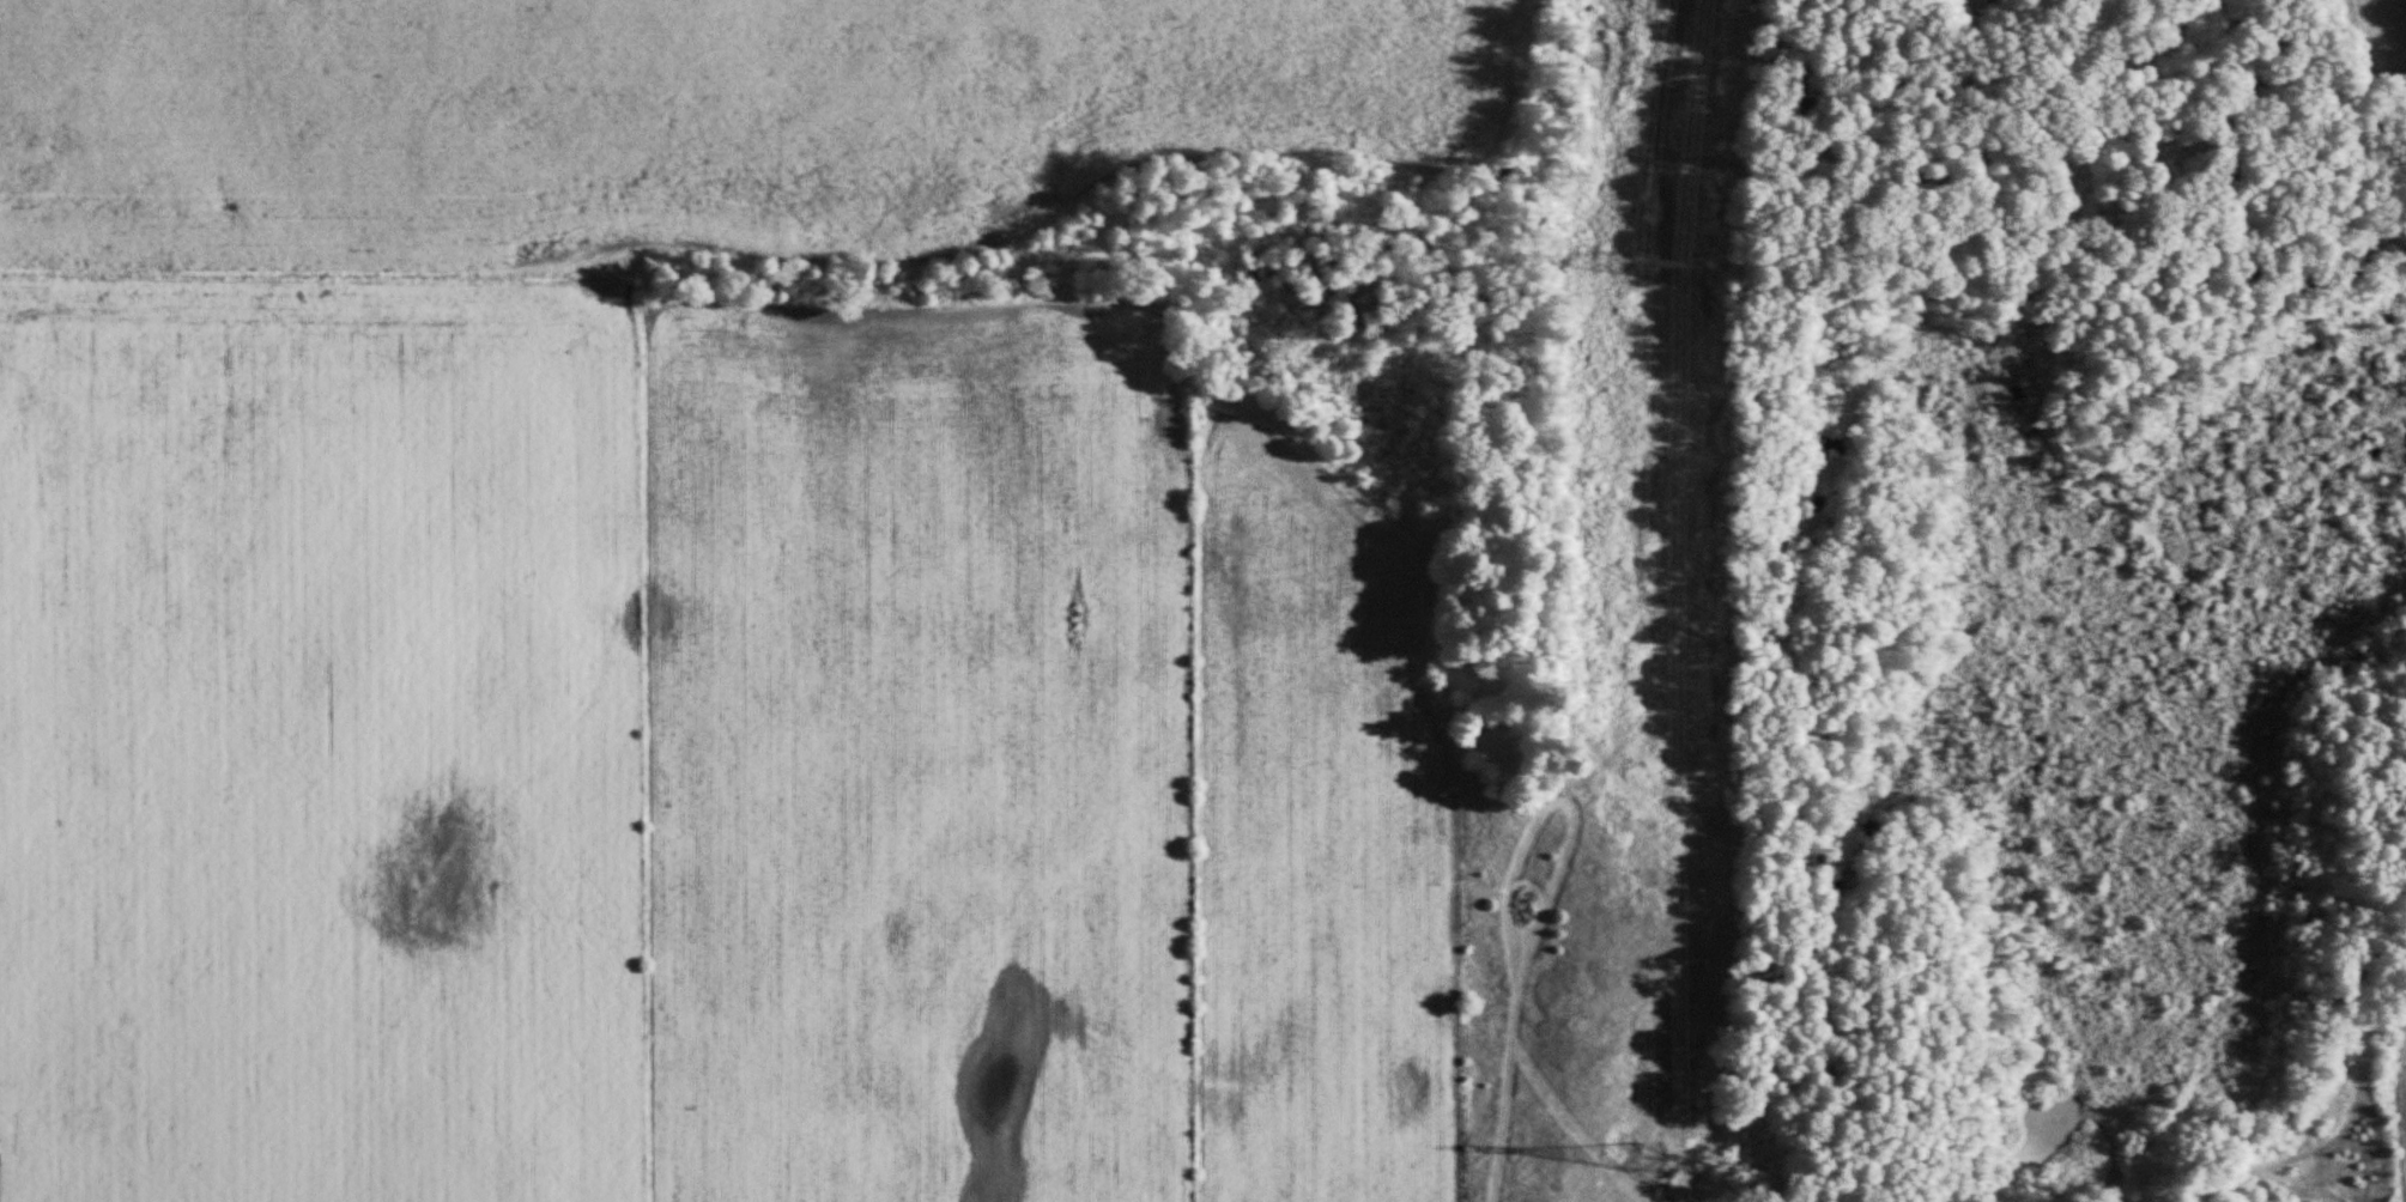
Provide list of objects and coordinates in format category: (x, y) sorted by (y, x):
power tower: (1637, 268)
power tower: (1642, 1161)

